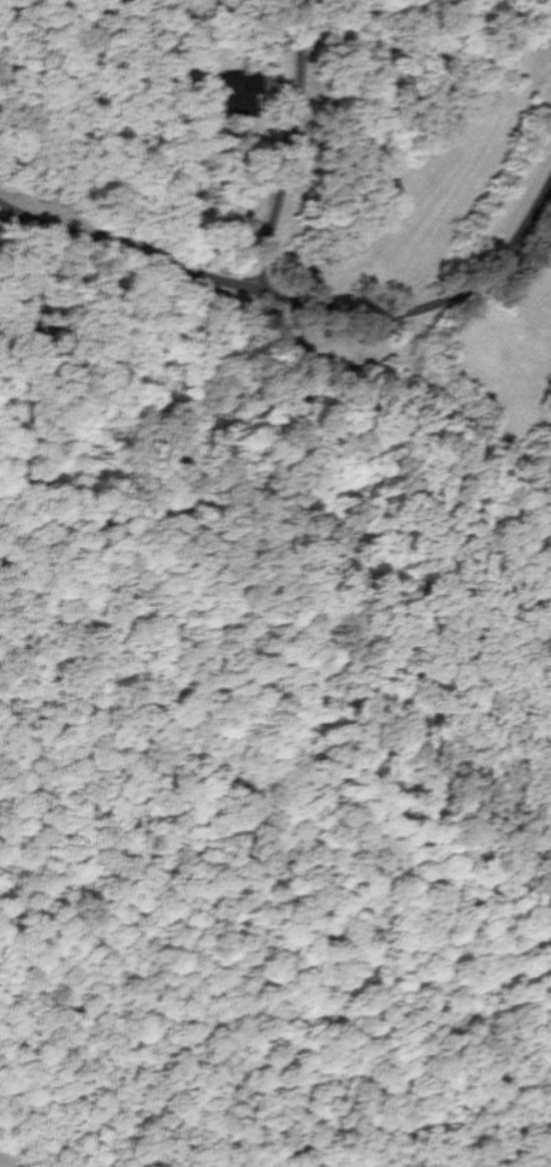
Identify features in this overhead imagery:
building: (241, 95)
road: (251, 276)
road: (427, 305)

